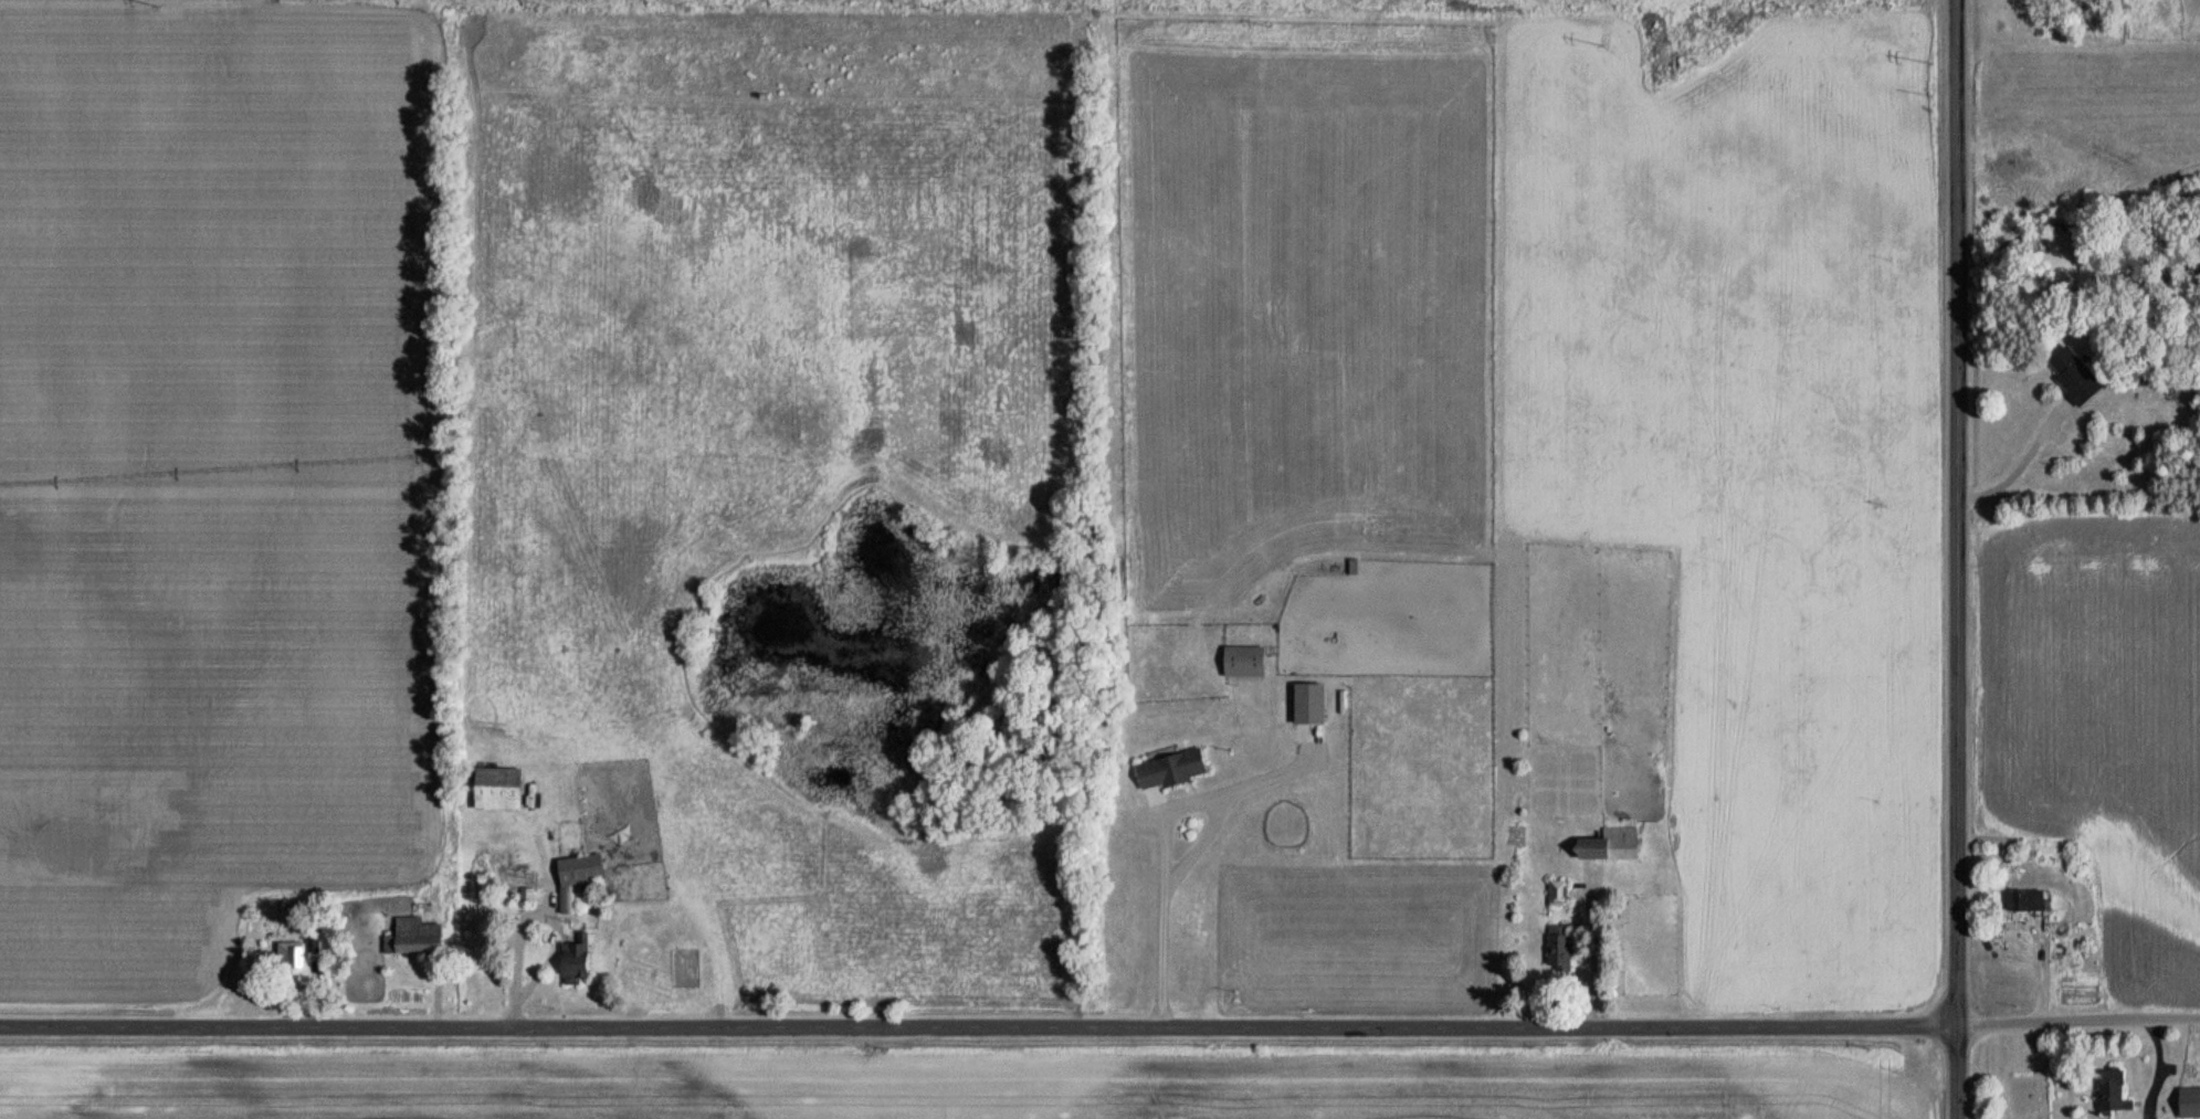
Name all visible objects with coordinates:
building: (2076, 4)
power tower: (154, 8)
power tower: (949, 8)
power tower: (544, 9)
power tower: (1263, 28)
power tower: (1604, 44)
power tower: (1925, 65)
building: (2073, 376)
road: (2018, 462)
road: (1955, 559)
building: (1241, 662)
building: (1306, 705)
building: (1168, 770)
building: (494, 789)
road: (1156, 834)
building: (1607, 844)
building: (575, 880)
road: (656, 882)
building: (2023, 899)
building: (413, 937)
building: (1558, 947)
road: (512, 954)
building: (573, 961)
road: (1099, 1025)
building: (2112, 1092)
building: (2188, 1102)

